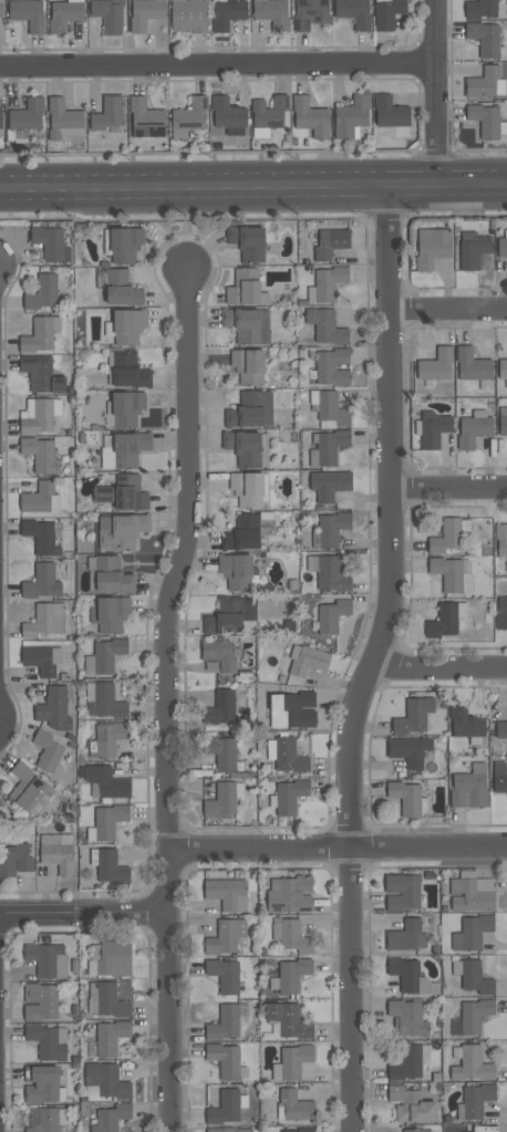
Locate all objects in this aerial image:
building: (1, 8)
building: (479, 9)
building: (272, 12)
building: (354, 12)
building: (28, 13)
building: (145, 13)
building: (227, 13)
building: (310, 13)
building: (387, 13)
building: (64, 14)
building: (108, 14)
building: (188, 15)
building: (485, 38)
road: (218, 66)
building: (486, 83)
road: (437, 93)
building: (390, 112)
building: (227, 113)
building: (107, 114)
building: (27, 115)
building: (268, 115)
building: (351, 116)
building: (189, 117)
building: (310, 117)
building: (146, 118)
building: (63, 120)
building: (485, 120)
building: (0, 124)
road: (253, 188)
building: (247, 241)
building: (50, 242)
building: (330, 242)
building: (124, 243)
building: (501, 243)
building: (432, 246)
building: (472, 249)
building: (325, 283)
building: (121, 288)
building: (245, 288)
building: (42, 292)
road: (448, 313)
building: (248, 324)
building: (128, 325)
building: (325, 325)
building: (40, 333)
building: (435, 364)
building: (472, 364)
building: (247, 365)
building: (331, 366)
building: (128, 370)
building: (501, 371)
building: (41, 374)
building: (329, 406)
building: (126, 407)
building: (250, 409)
building: (39, 414)
building: (503, 420)
building: (433, 428)
building: (474, 428)
building: (247, 447)
building: (328, 447)
building: (122, 449)
building: (41, 455)
building: (329, 484)
road: (449, 487)
building: (248, 488)
building: (123, 492)
building: (40, 498)
building: (267, 526)
building: (331, 528)
building: (121, 530)
building: (242, 532)
building: (41, 536)
building: (445, 536)
building: (500, 539)
building: (236, 570)
building: (331, 573)
building: (447, 573)
building: (113, 574)
building: (41, 582)
building: (110, 613)
building: (231, 613)
building: (501, 613)
building: (332, 615)
building: (45, 620)
building: (443, 621)
building: (108, 654)
building: (218, 654)
building: (39, 660)
road: (370, 660)
building: (309, 661)
road: (437, 665)
road: (165, 699)
building: (106, 700)
building: (53, 708)
building: (220, 708)
building: (300, 708)
building: (413, 716)
building: (466, 721)
building: (501, 729)
building: (110, 738)
building: (48, 750)
building: (408, 750)
building: (221, 752)
building: (289, 757)
building: (499, 777)
building: (106, 781)
building: (469, 788)
building: (29, 789)
building: (289, 796)
building: (406, 798)
building: (220, 800)
building: (108, 820)
road: (338, 850)
building: (58, 852)
building: (15, 860)
building: (111, 866)
building: (402, 892)
building: (227, 893)
building: (290, 894)
building: (469, 896)
road: (84, 913)
building: (472, 932)
building: (404, 935)
building: (293, 936)
building: (225, 937)
building: (42, 957)
building: (114, 957)
building: (405, 973)
building: (224, 974)
building: (292, 975)
building: (475, 977)
building: (40, 1000)
building: (111, 1000)
building: (475, 1015)
building: (407, 1017)
building: (289, 1020)
building: (225, 1022)
building: (111, 1037)
building: (45, 1041)
building: (225, 1059)
building: (294, 1061)
building: (406, 1063)
building: (472, 1065)
building: (106, 1079)
building: (42, 1084)
building: (476, 1100)
building: (412, 1104)
building: (296, 1105)
building: (225, 1108)
building: (111, 1118)
building: (46, 1120)
building: (228, 1130)
building: (300, 1130)
building: (412, 1130)
building: (465, 1131)

